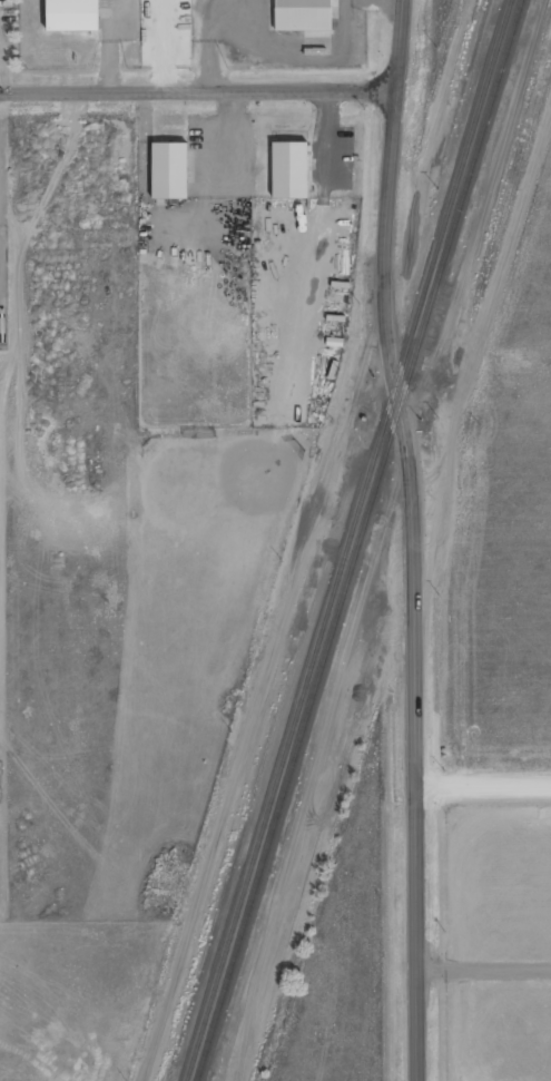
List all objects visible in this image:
building: (72, 16)
building: (304, 16)
road: (198, 91)
building: (291, 170)
building: (170, 171)
road: (411, 539)
railway: (351, 540)
railway: (361, 540)
road: (483, 784)

